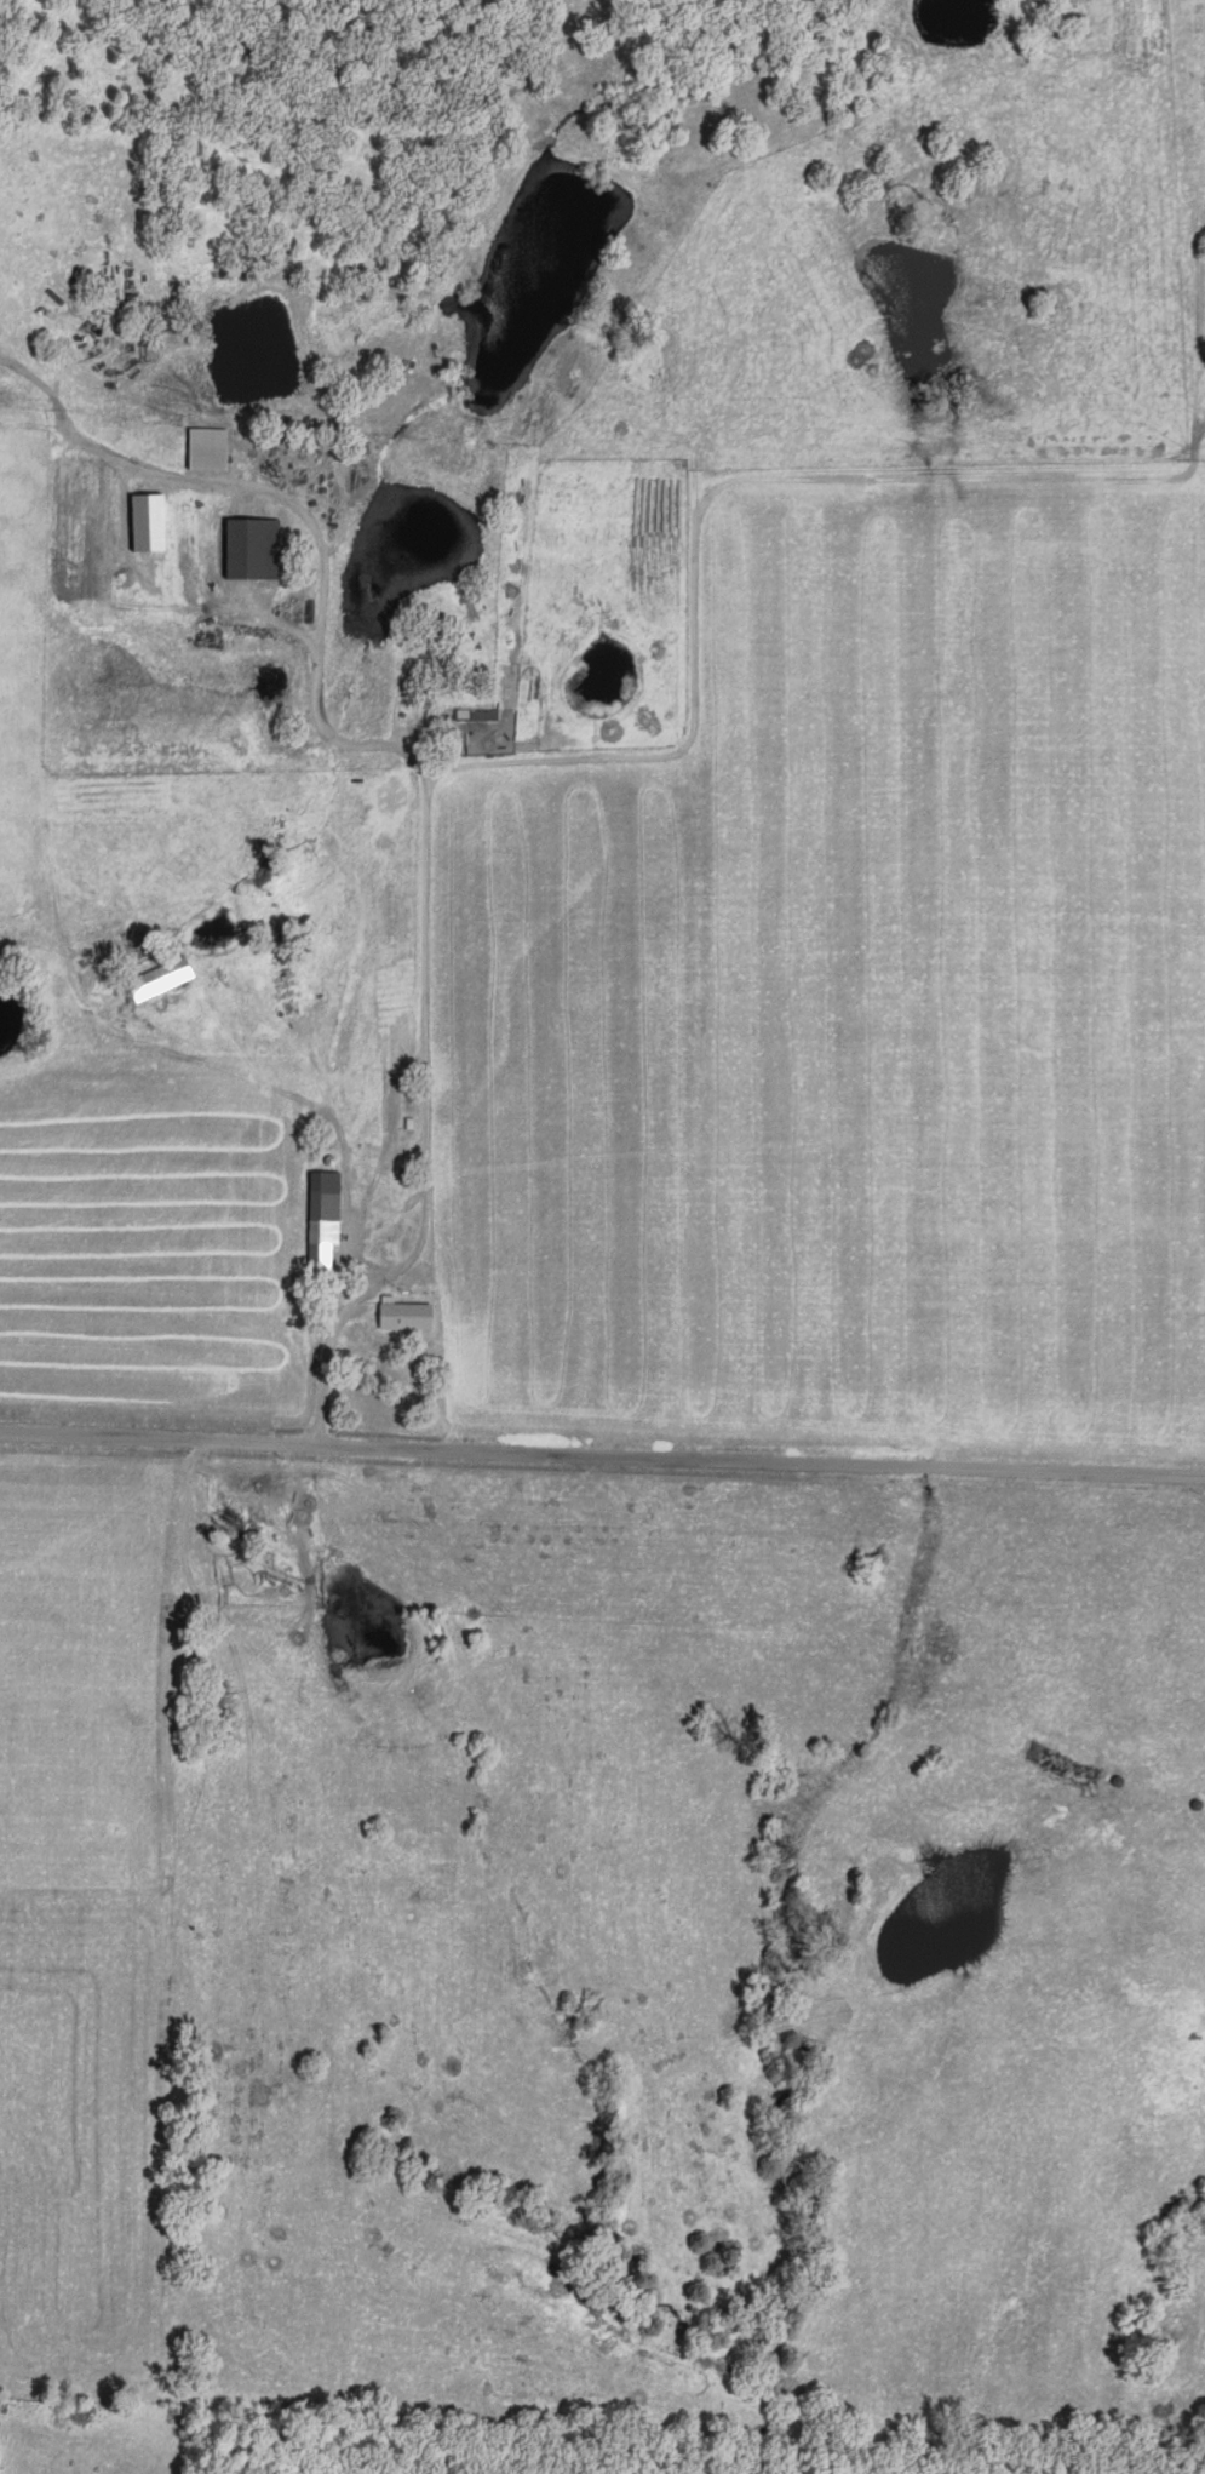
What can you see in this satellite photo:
building: (206, 446)
building: (147, 520)
building: (252, 545)
road: (520, 763)
road: (428, 1128)
building: (322, 1218)
building: (403, 1311)
road: (602, 1459)

